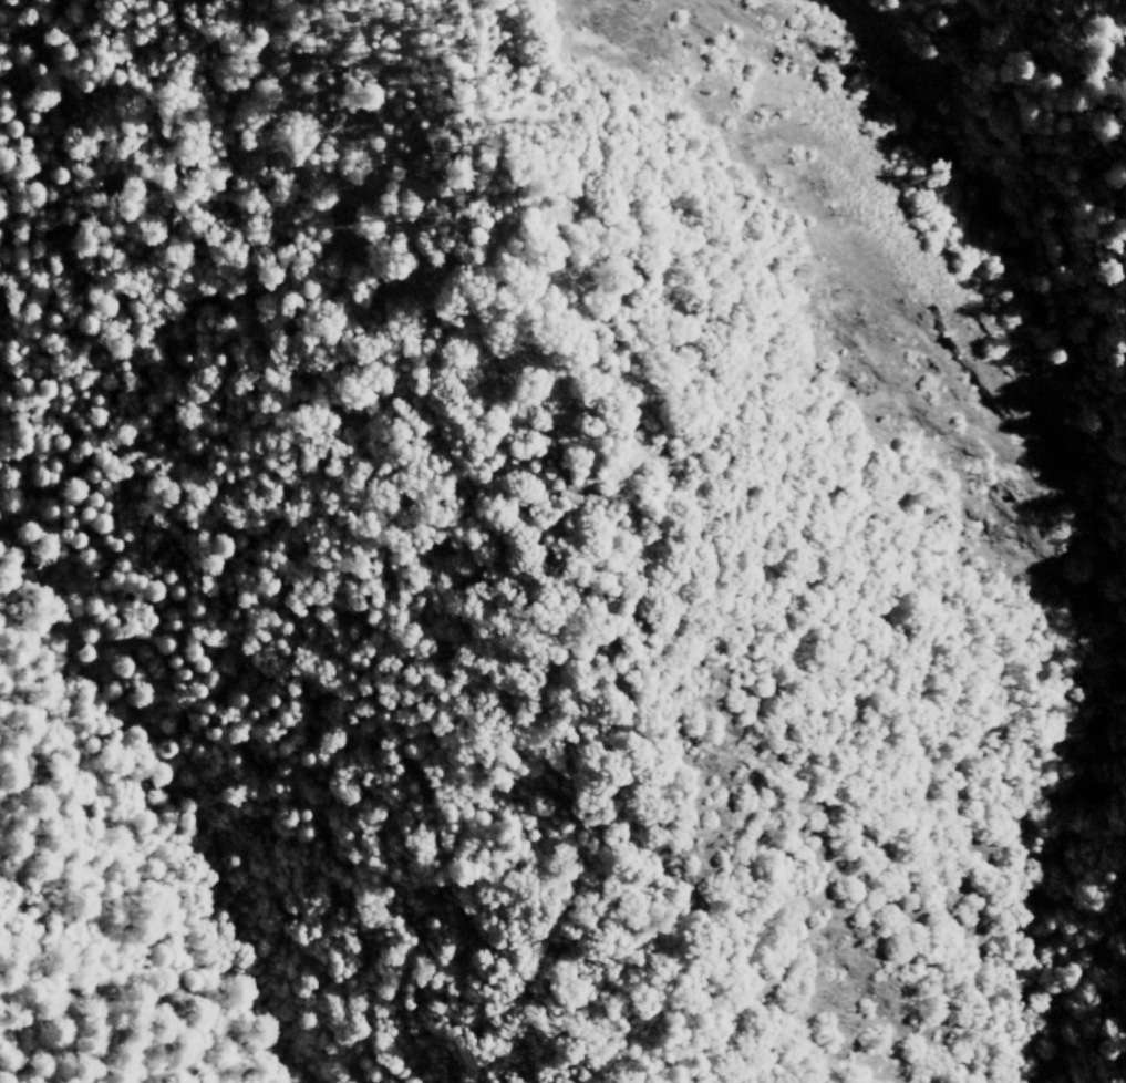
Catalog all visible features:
road: (924, 785)

